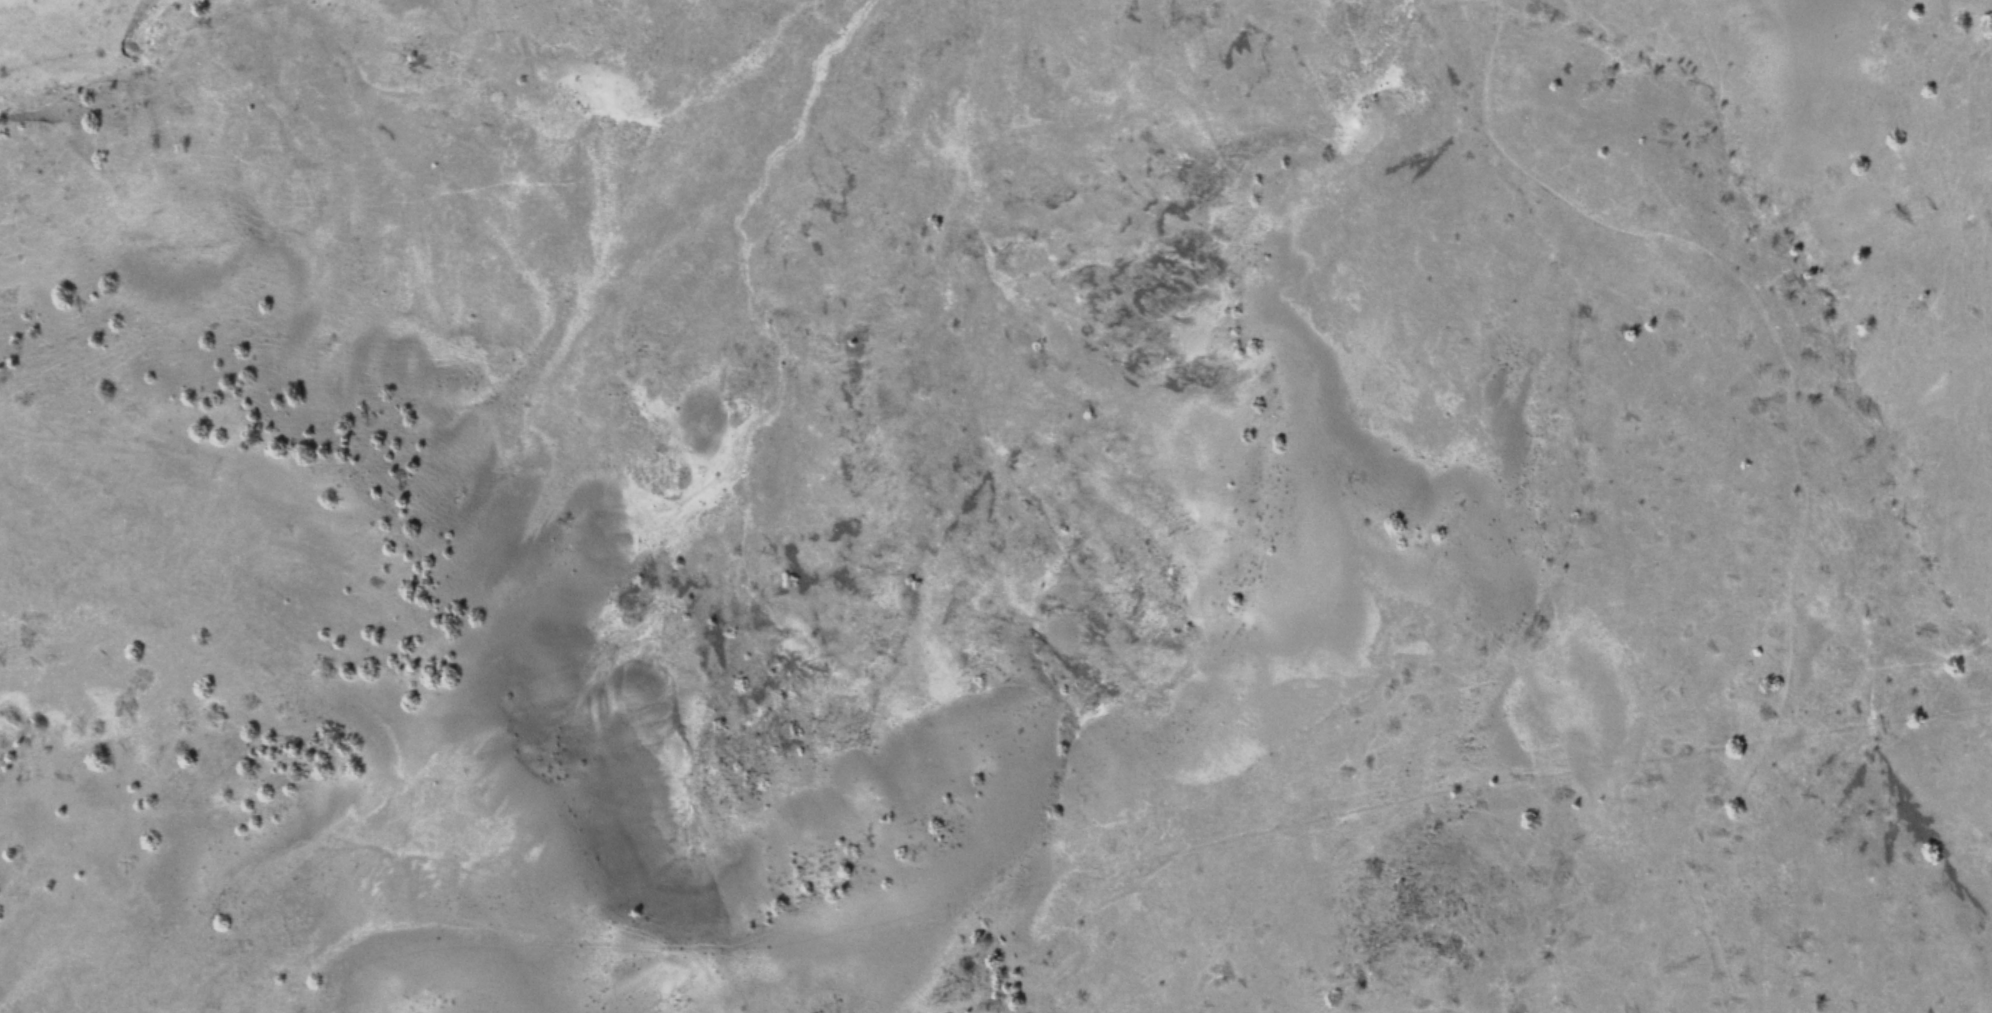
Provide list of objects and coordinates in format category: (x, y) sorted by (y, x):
road: (611, 949)

